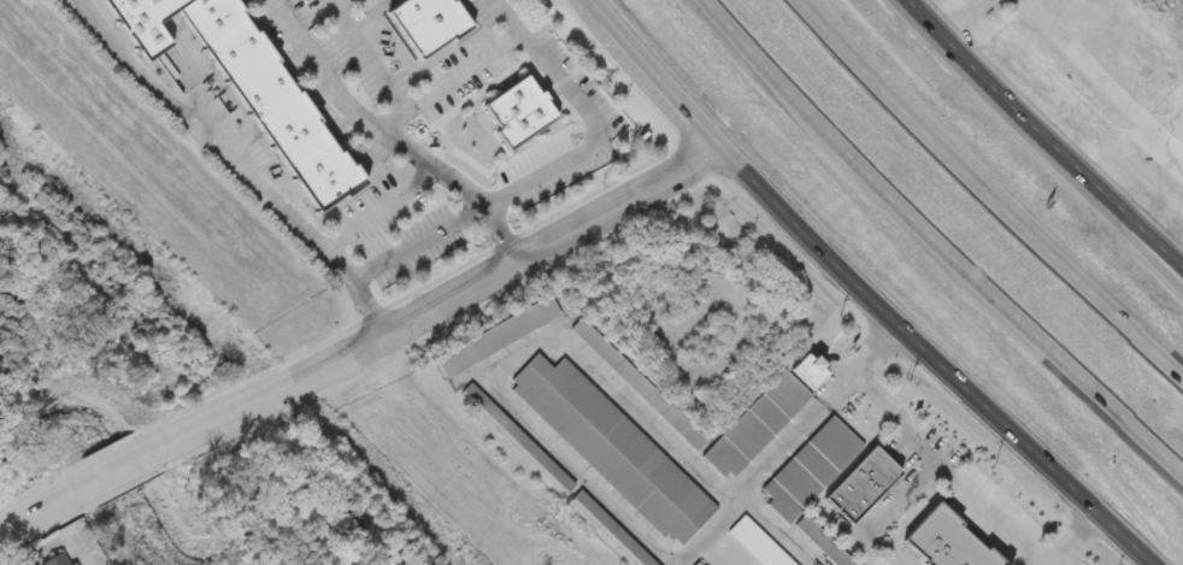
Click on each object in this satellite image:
road: (332, 2)
building: (416, 13)
road: (963, 16)
building: (147, 23)
building: (439, 34)
road: (364, 53)
road: (446, 77)
road: (1102, 77)
building: (273, 104)
road: (588, 114)
building: (522, 117)
road: (1172, 125)
road: (388, 135)
road: (1048, 135)
road: (234, 164)
road: (989, 195)
road: (377, 206)
road: (543, 243)
road: (934, 245)
road: (422, 246)
road: (1148, 258)
road: (863, 290)
building: (496, 335)
road: (511, 353)
building: (808, 367)
building: (638, 383)
road: (260, 395)
building: (755, 424)
road: (796, 429)
building: (516, 436)
road: (928, 443)
building: (612, 447)
road: (114, 467)
building: (810, 467)
building: (861, 483)
road: (900, 496)
road: (39, 508)
road: (781, 526)
building: (612, 528)
road: (712, 528)
road: (1066, 537)
building: (823, 541)
building: (947, 541)
road: (723, 549)
building: (61, 560)
road: (896, 560)

